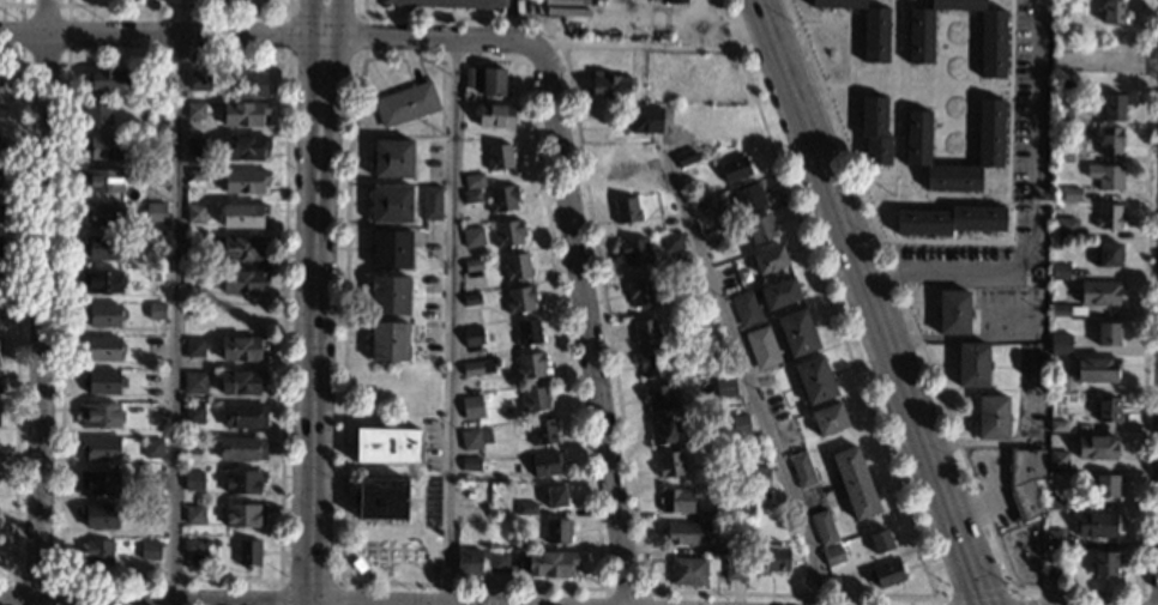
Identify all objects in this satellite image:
building: (675, 1)
building: (447, 4)
road: (13, 5)
road: (177, 5)
building: (1114, 12)
road: (313, 18)
road: (330, 18)
building: (864, 26)
road: (254, 36)
building: (990, 37)
road: (646, 47)
road: (539, 53)
road: (352, 56)
road: (1111, 56)
road: (1050, 58)
road: (10, 62)
road: (66, 62)
road: (285, 63)
building: (470, 77)
building: (493, 81)
building: (102, 83)
building: (197, 83)
building: (609, 85)
building: (251, 86)
building: (0, 87)
building: (405, 104)
building: (1063, 104)
building: (1114, 107)
building: (0, 109)
building: (193, 114)
building: (496, 115)
building: (95, 116)
building: (242, 116)
building: (643, 119)
building: (873, 129)
building: (1110, 141)
building: (917, 146)
building: (0, 147)
building: (153, 147)
building: (194, 147)
building: (102, 149)
building: (242, 149)
building: (499, 157)
building: (684, 157)
building: (1063, 157)
building: (392, 158)
building: (620, 165)
building: (734, 169)
building: (0, 176)
building: (195, 176)
building: (1105, 176)
building: (155, 180)
building: (474, 181)
building: (101, 183)
building: (242, 183)
building: (1070, 194)
building: (471, 196)
building: (748, 198)
building: (502, 199)
building: (429, 202)
building: (391, 204)
building: (626, 210)
building: (0, 211)
building: (153, 214)
building: (102, 216)
building: (193, 216)
road: (589, 216)
building: (1109, 217)
building: (241, 218)
road: (1032, 218)
building: (949, 220)
building: (1066, 228)
building: (761, 229)
building: (507, 234)
building: (472, 238)
building: (673, 241)
road: (550, 246)
building: (1055, 246)
building: (0, 248)
building: (193, 248)
building: (99, 249)
building: (242, 249)
building: (391, 249)
building: (634, 252)
building: (1106, 253)
building: (768, 260)
building: (472, 265)
building: (515, 266)
building: (1060, 272)
building: (192, 282)
building: (687, 282)
building: (240, 283)
building: (99, 284)
building: (641, 292)
building: (778, 292)
building: (1098, 292)
building: (388, 295)
building: (471, 300)
building: (519, 300)
road: (827, 300)
road: (903, 301)
road: (40, 302)
road: (866, 302)
building: (746, 309)
road: (584, 310)
building: (1059, 310)
building: (952, 313)
building: (155, 315)
building: (99, 317)
road: (314, 317)
road: (344, 317)
building: (699, 317)
road: (176, 321)
road: (452, 321)
road: (17, 327)
building: (645, 332)
building: (797, 332)
building: (529, 333)
building: (1108, 334)
building: (472, 337)
building: (388, 341)
building: (761, 347)
building: (712, 349)
building: (1059, 349)
building: (99, 350)
building: (193, 350)
building: (240, 351)
building: (653, 364)
building: (971, 364)
building: (531, 365)
building: (477, 368)
building: (1096, 370)
road: (749, 371)
building: (814, 380)
building: (99, 385)
building: (193, 385)
building: (240, 385)
building: (1059, 385)
building: (724, 386)
building: (658, 398)
building: (535, 399)
building: (470, 403)
building: (1106, 410)
building: (192, 417)
building: (991, 417)
building: (97, 418)
building: (243, 418)
building: (828, 419)
building: (472, 424)
building: (1057, 425)
building: (738, 426)
building: (543, 432)
building: (664, 432)
building: (192, 435)
building: (470, 440)
building: (387, 446)
building: (1096, 447)
building: (99, 450)
building: (150, 450)
building: (191, 450)
building: (240, 450)
building: (1057, 460)
building: (545, 462)
building: (470, 464)
building: (670, 464)
building: (802, 470)
building: (759, 478)
building: (1025, 480)
building: (855, 483)
building: (191, 484)
building: (96, 485)
building: (151, 485)
building: (242, 485)
building: (1105, 485)
building: (555, 497)
building: (381, 500)
building: (676, 501)
building: (1056, 503)
building: (525, 508)
building: (469, 513)
building: (719, 515)
building: (191, 516)
building: (150, 518)
building: (97, 519)
building: (241, 519)
building: (502, 525)
building: (1097, 525)
building: (824, 527)
building: (557, 531)
building: (686, 533)
building: (1054, 539)
building: (880, 540)
building: (191, 549)
building: (147, 552)
building: (96, 555)
building: (246, 556)
building: (832, 556)
building: (772, 558)
building: (468, 562)
building: (497, 562)
building: (547, 563)
building: (1104, 563)
building: (1051, 565)
building: (688, 570)
building: (736, 570)
building: (883, 574)
road: (36, 579)
road: (309, 581)
building: (828, 582)
road: (472, 585)
road: (617, 589)
road: (792, 594)
road: (972, 594)
road: (152, 597)
road: (1027, 598)
road: (304, 601)
road: (375, 601)

